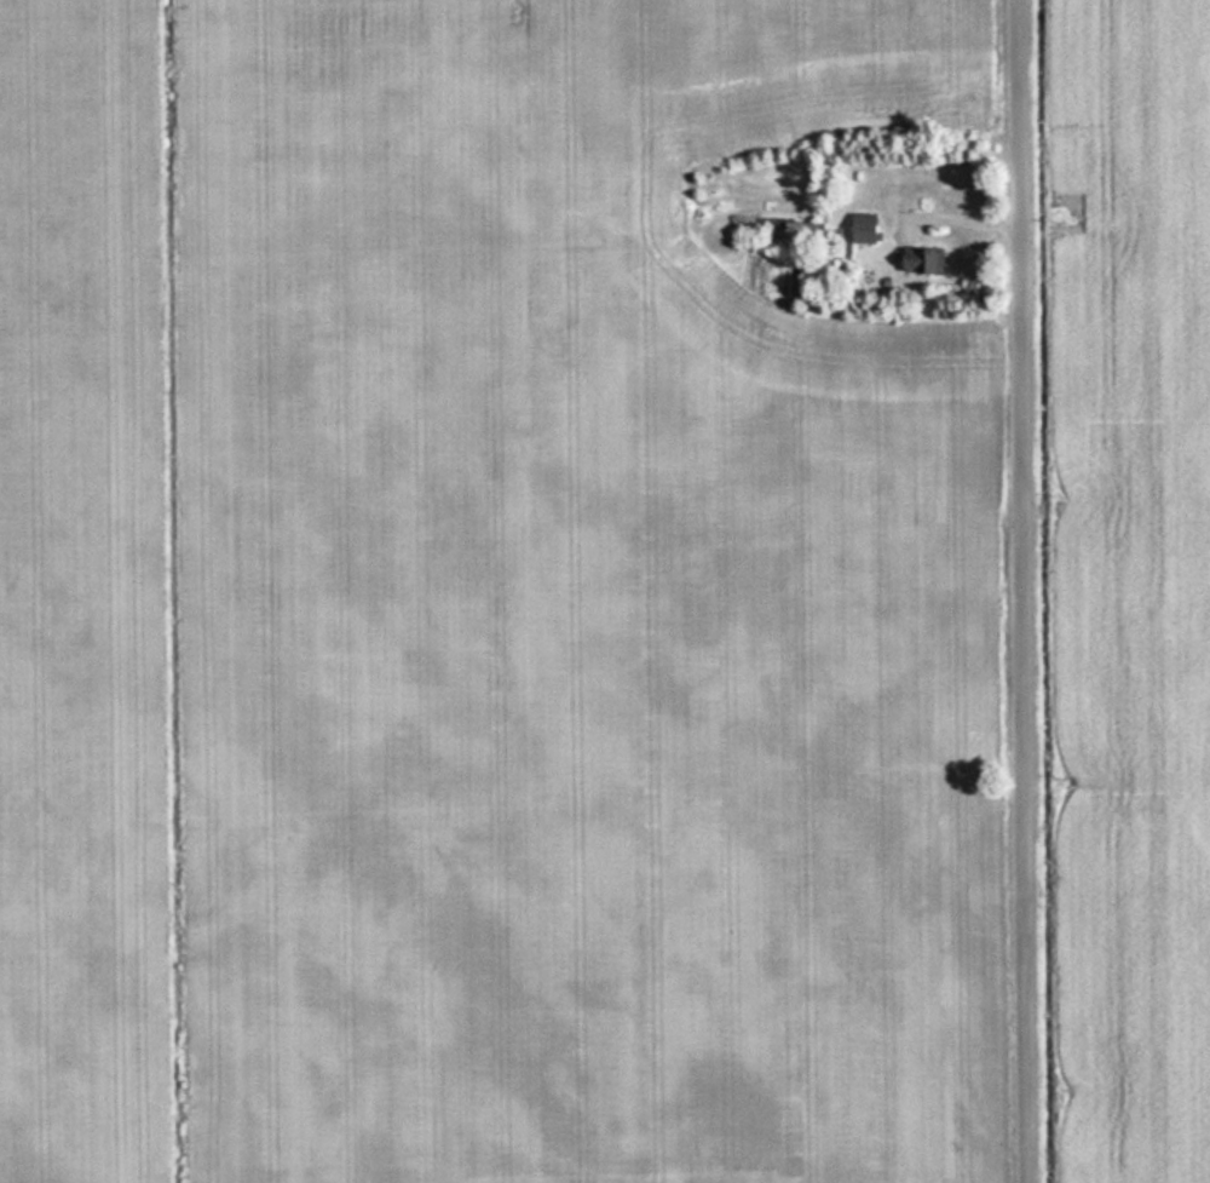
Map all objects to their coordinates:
building: (859, 229)
building: (921, 262)
road: (1030, 591)

